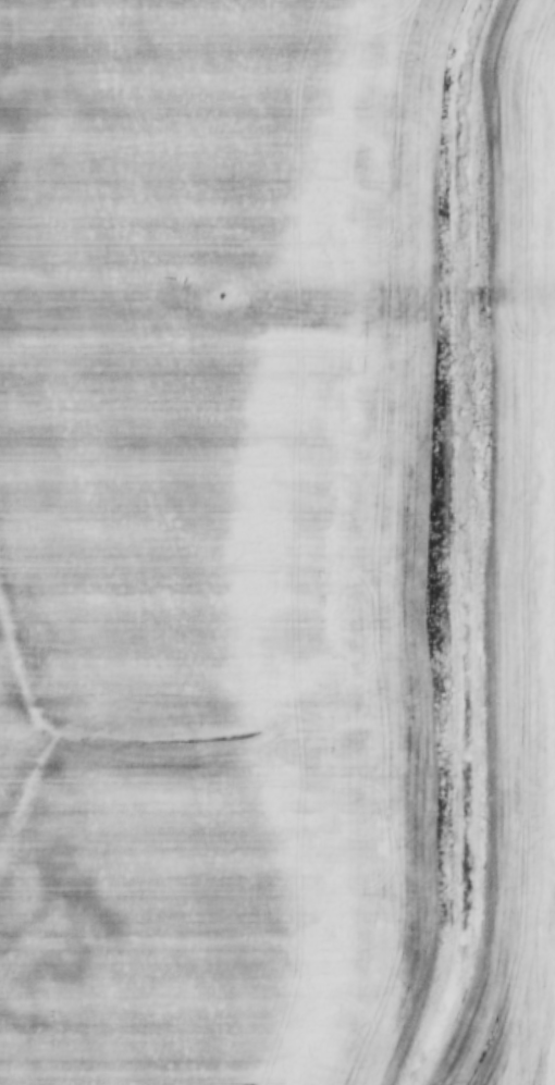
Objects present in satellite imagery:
crop: (224, 539)
crop: (514, 564)

